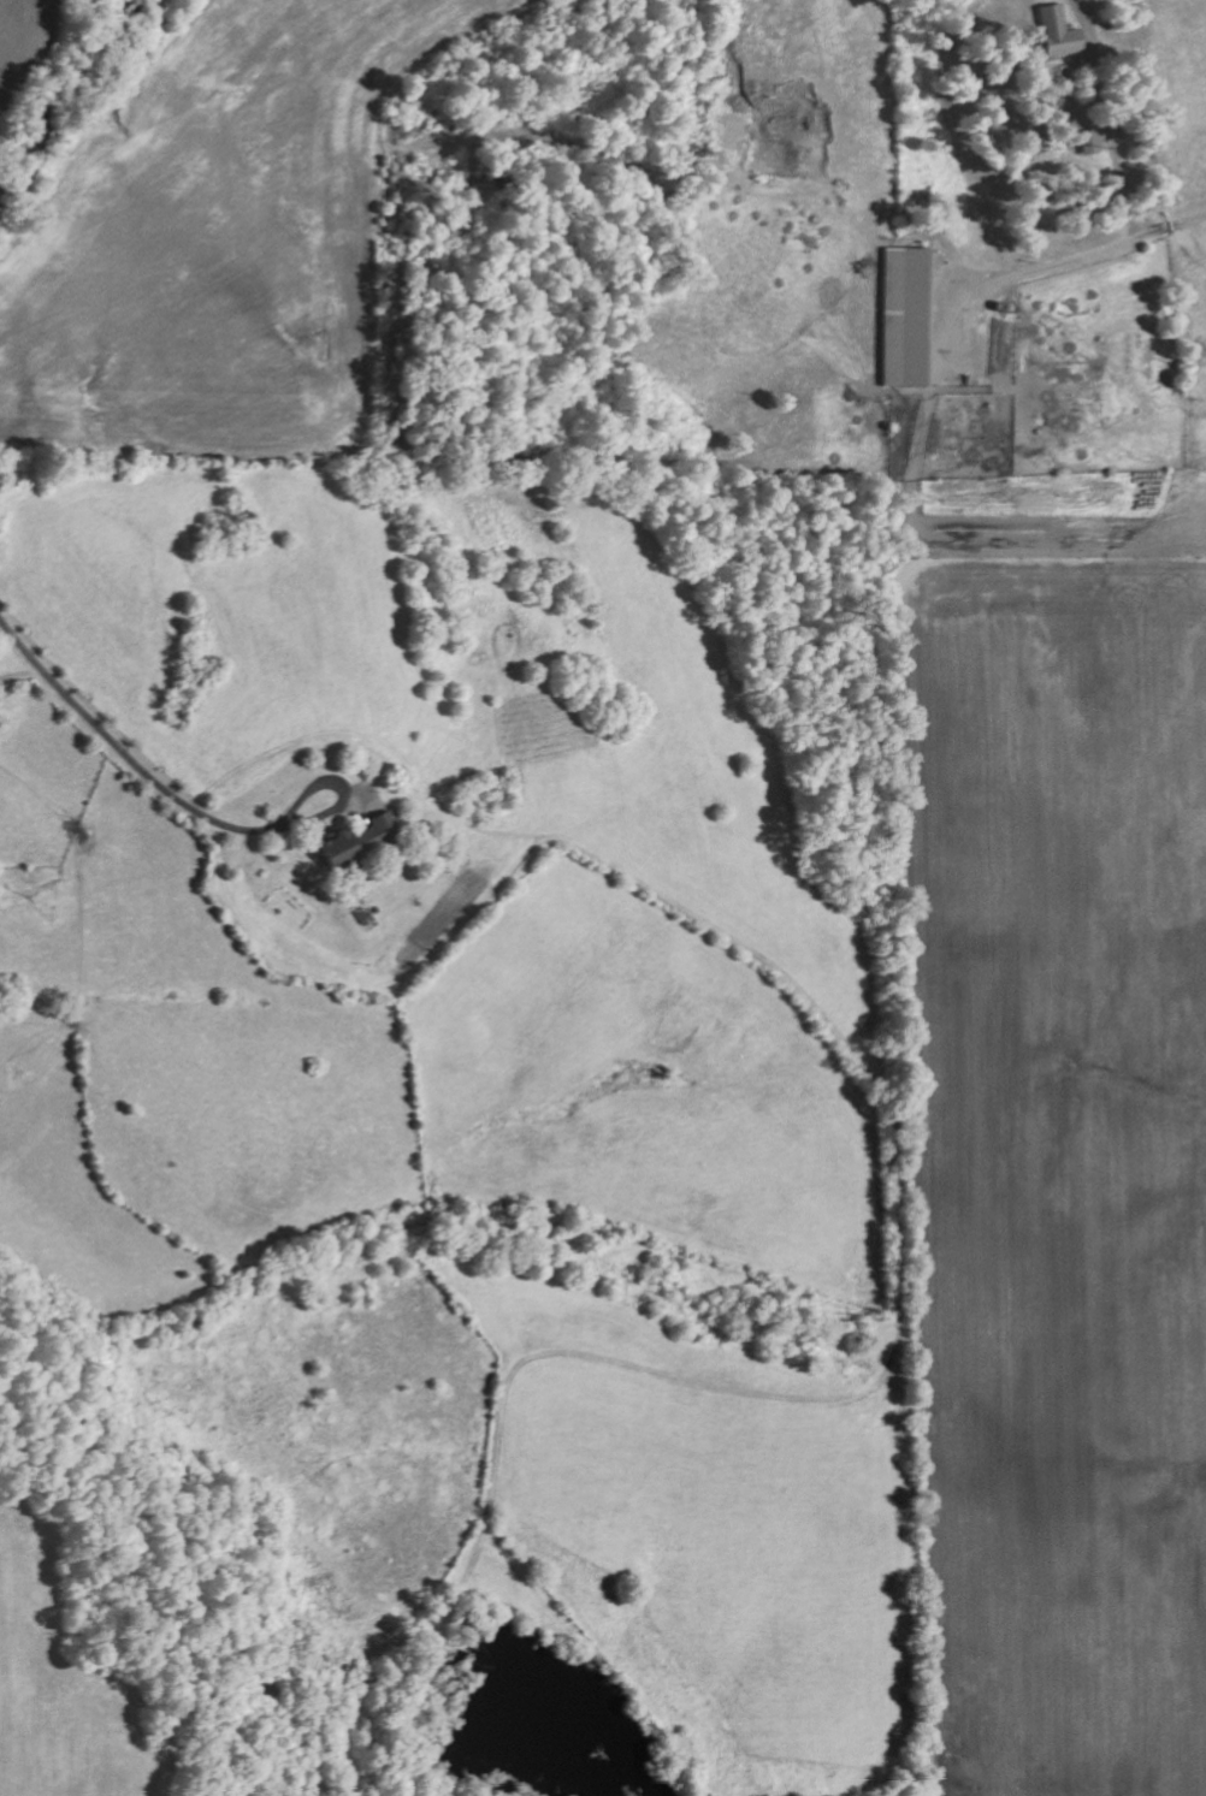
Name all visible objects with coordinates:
building: (1054, 29)
building: (1087, 140)
building: (905, 315)
road: (144, 769)
building: (333, 846)

